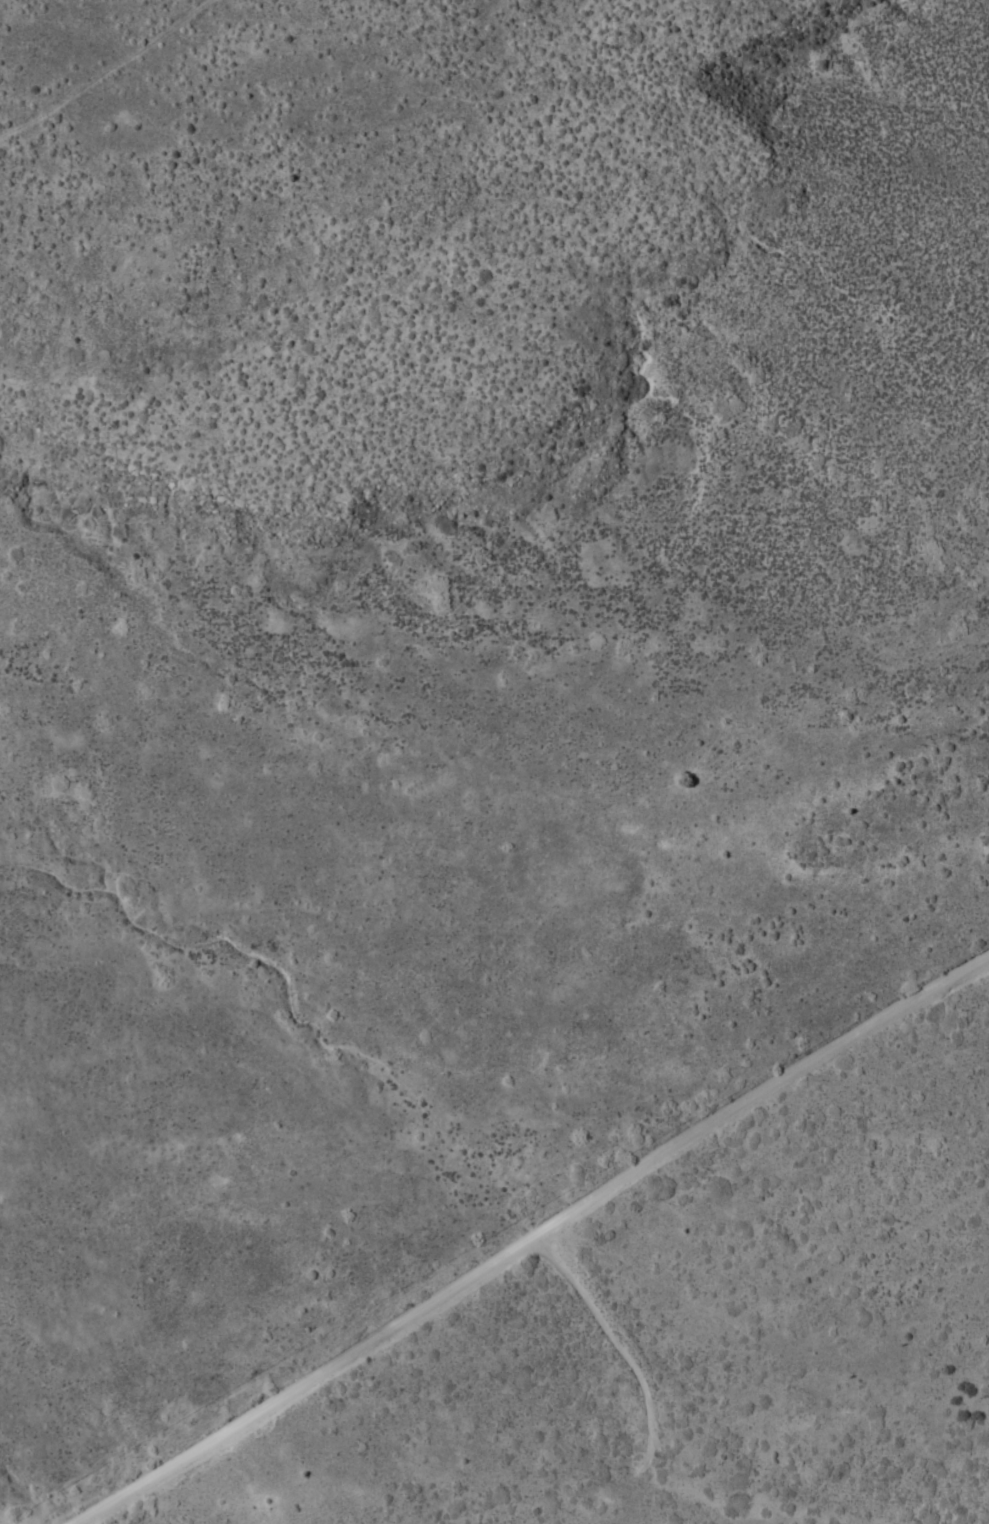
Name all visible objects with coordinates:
road: (77, 44)
road: (530, 1238)

